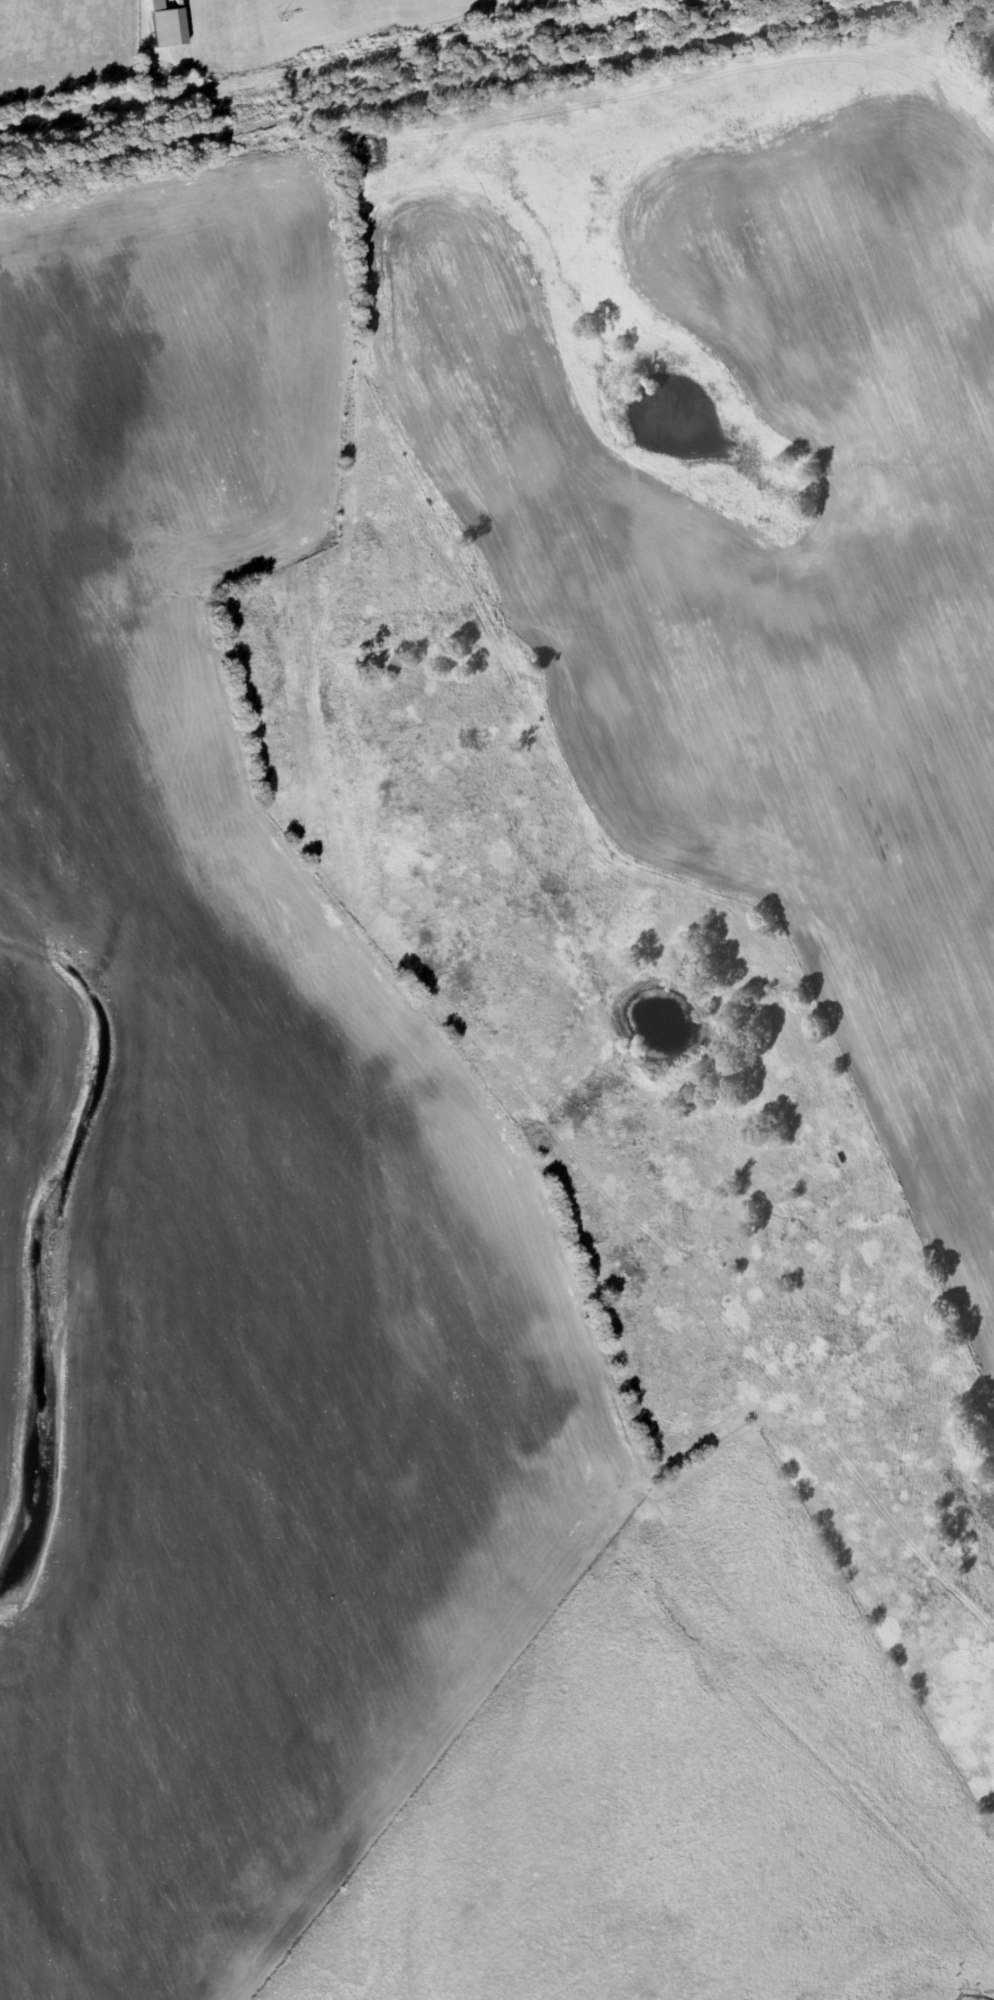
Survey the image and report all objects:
building: (169, 29)
railway: (444, 84)

